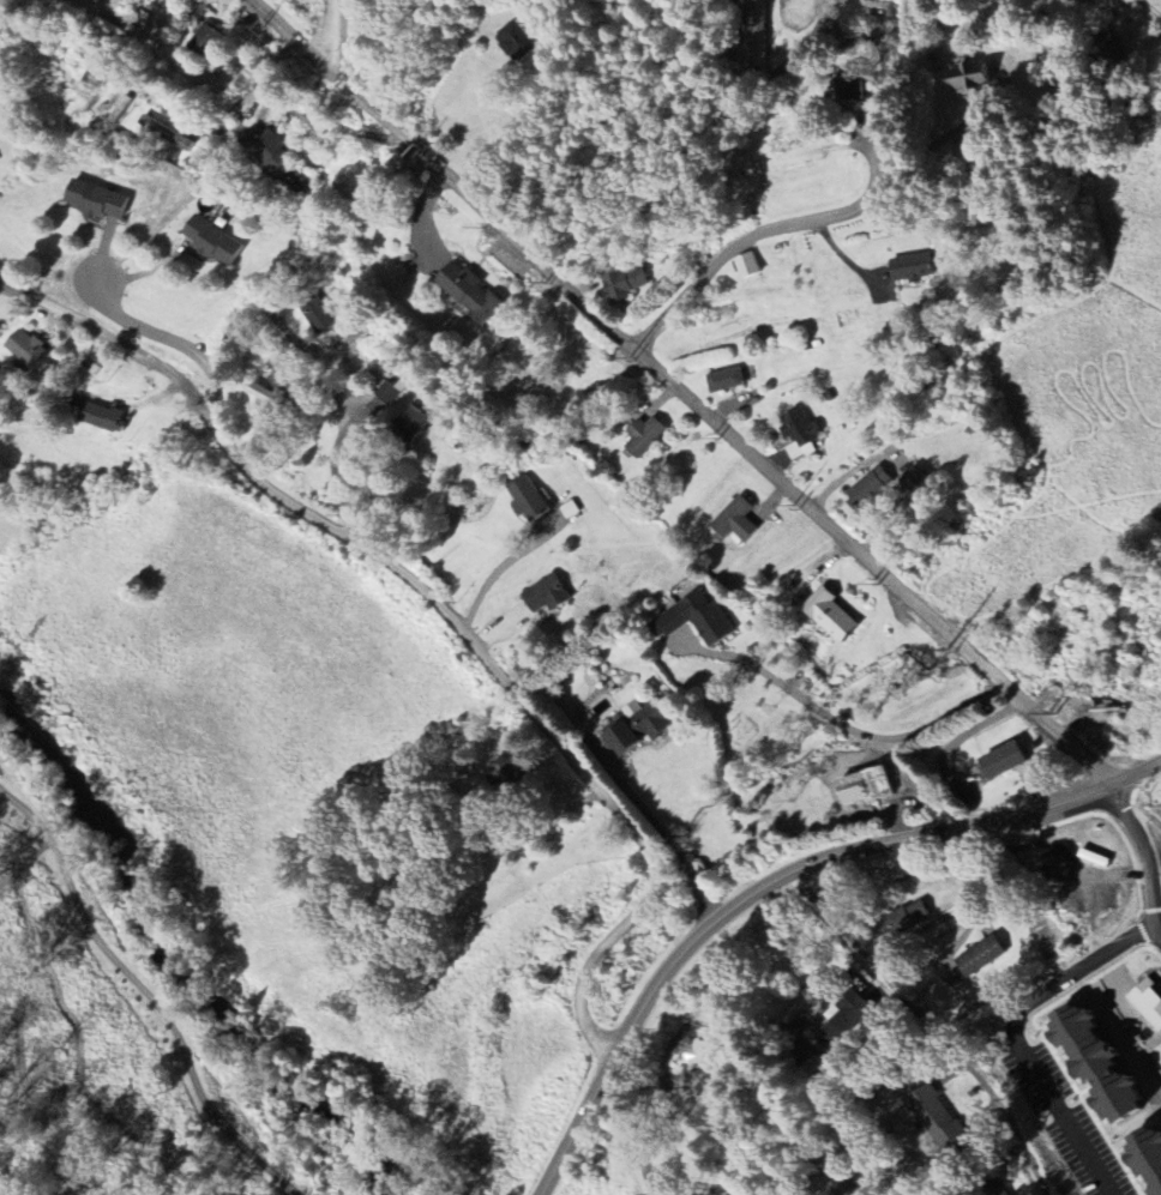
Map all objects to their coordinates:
road: (348, 36)
building: (207, 42)
building: (519, 42)
building: (1106, 48)
road: (878, 54)
building: (974, 78)
building: (852, 90)
road: (297, 113)
road: (950, 133)
building: (269, 150)
building: (101, 203)
road: (759, 230)
building: (217, 243)
building: (750, 267)
building: (916, 270)
building: (624, 284)
building: (473, 292)
road: (243, 313)
building: (320, 320)
road: (186, 348)
building: (31, 351)
building: (727, 382)
building: (390, 390)
road: (685, 396)
building: (106, 420)
building: (415, 421)
building: (801, 435)
building: (645, 437)
building: (920, 483)
building: (873, 489)
building: (531, 503)
building: (738, 521)
road: (500, 567)
building: (548, 598)
road: (447, 614)
building: (826, 616)
building: (691, 621)
power tower: (7, 669)
road: (838, 723)
building: (633, 728)
building: (998, 762)
road: (674, 846)
road: (1135, 856)
road: (778, 879)
building: (901, 921)
road: (1157, 929)
building: (975, 958)
road: (146, 994)
park: (152, 996)
building: (1143, 1004)
power tower: (344, 1006)
building: (846, 1013)
road: (930, 1027)
road: (1015, 1037)
road: (828, 1063)
building: (1083, 1064)
building: (930, 1117)
road: (628, 1129)
building: (1141, 1160)
building: (837, 1182)
building: (987, 1188)

